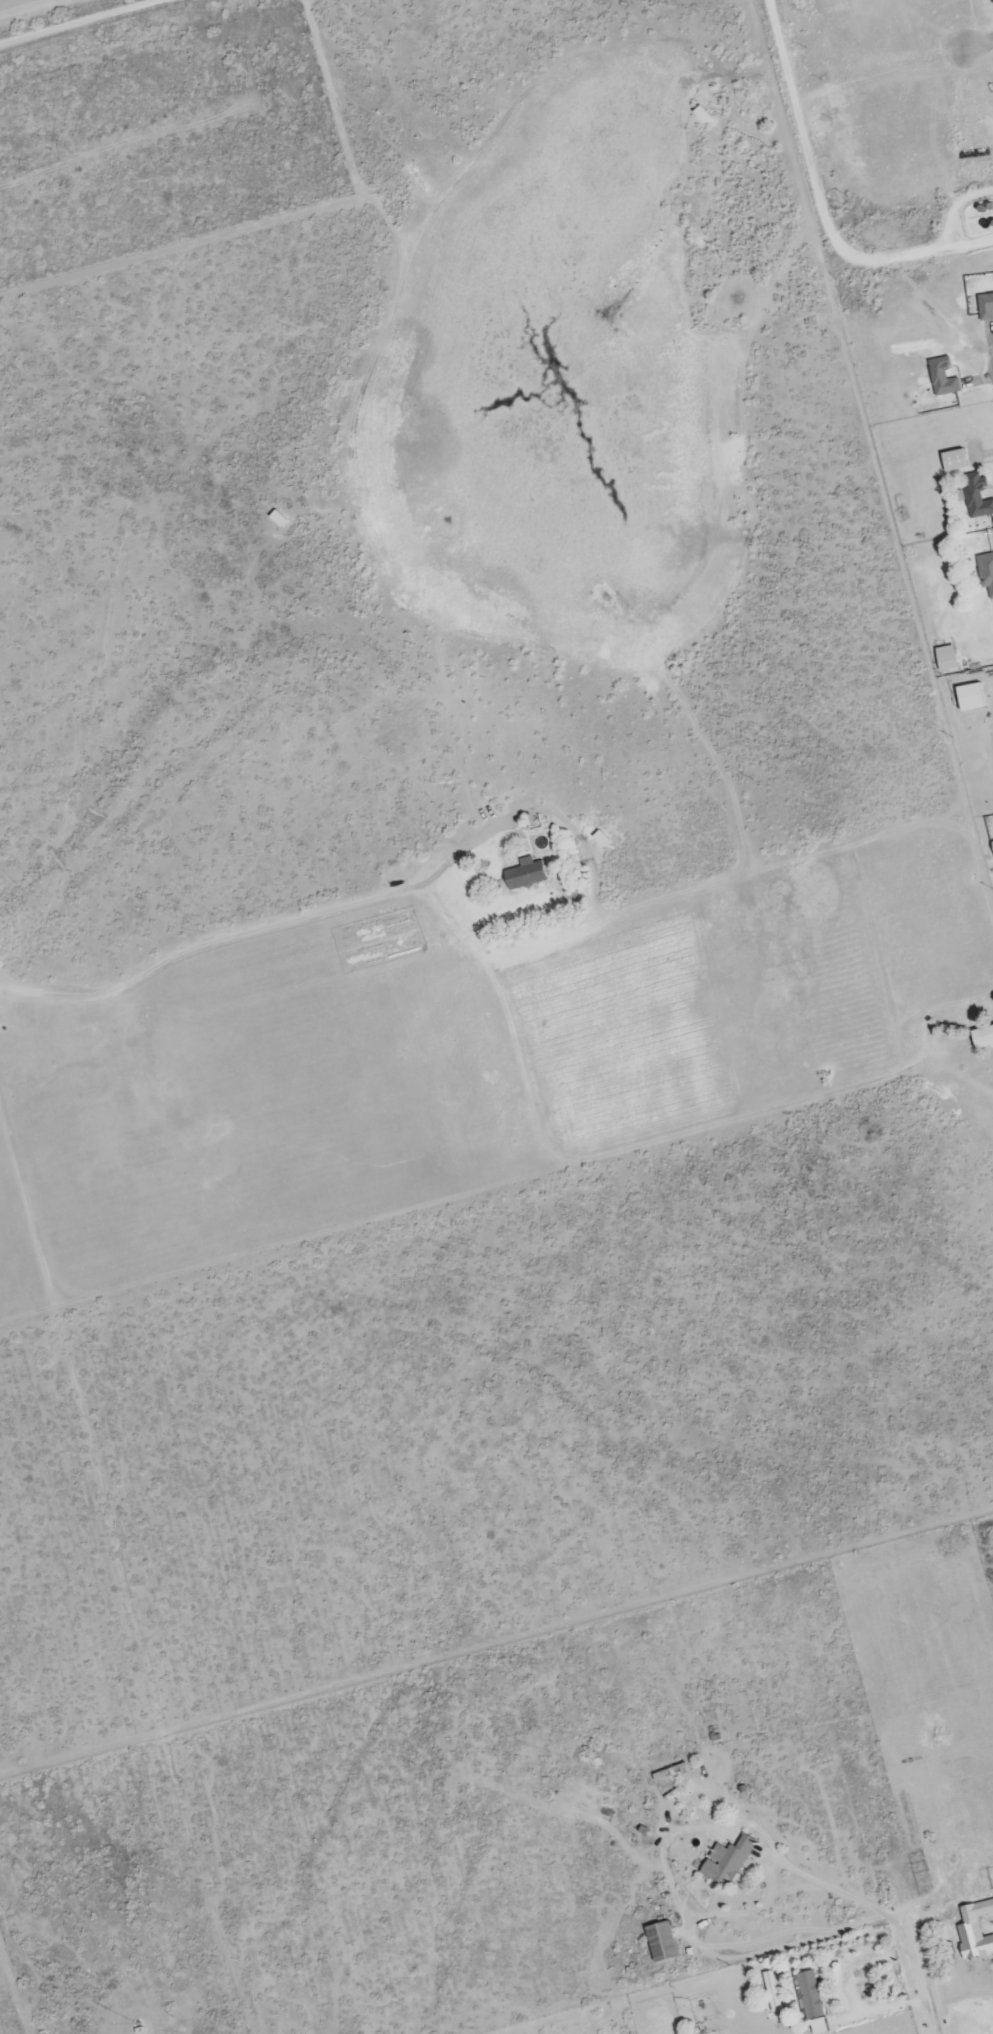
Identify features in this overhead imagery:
road: (123, 18)
crop: (81, 21)
road: (978, 42)
building: (985, 307)
building: (940, 379)
building: (952, 461)
building: (975, 497)
building: (985, 573)
building: (944, 659)
building: (969, 698)
building: (991, 848)
building: (530, 875)
building: (981, 1038)
building: (731, 1862)
road: (837, 1891)
building: (977, 1931)
building: (665, 1943)
road: (920, 1978)
building: (773, 1993)
crop: (10, 1996)
building: (814, 2003)

